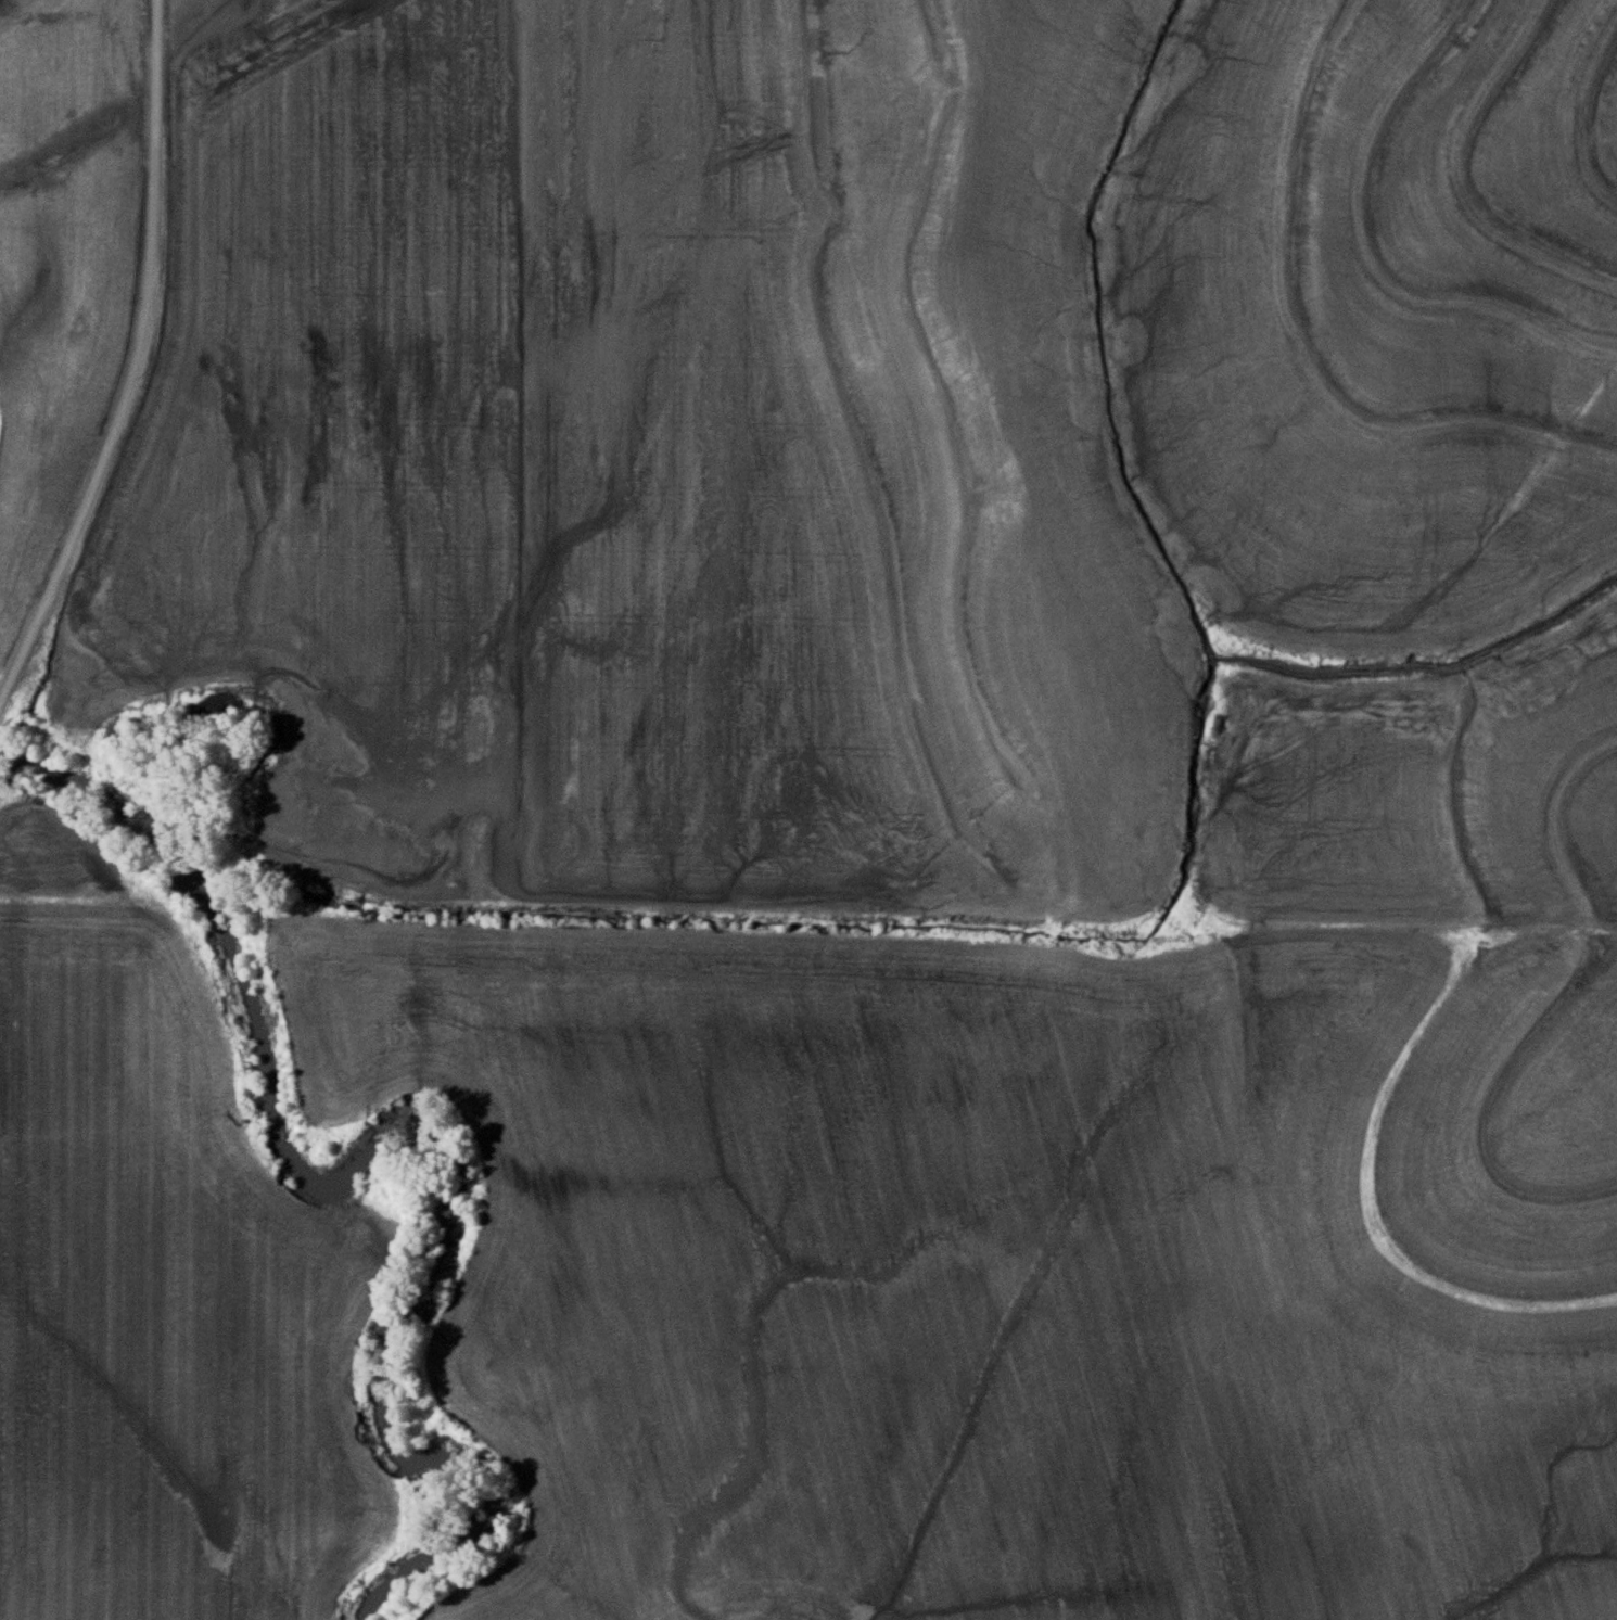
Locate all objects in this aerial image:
road: (138, 363)

